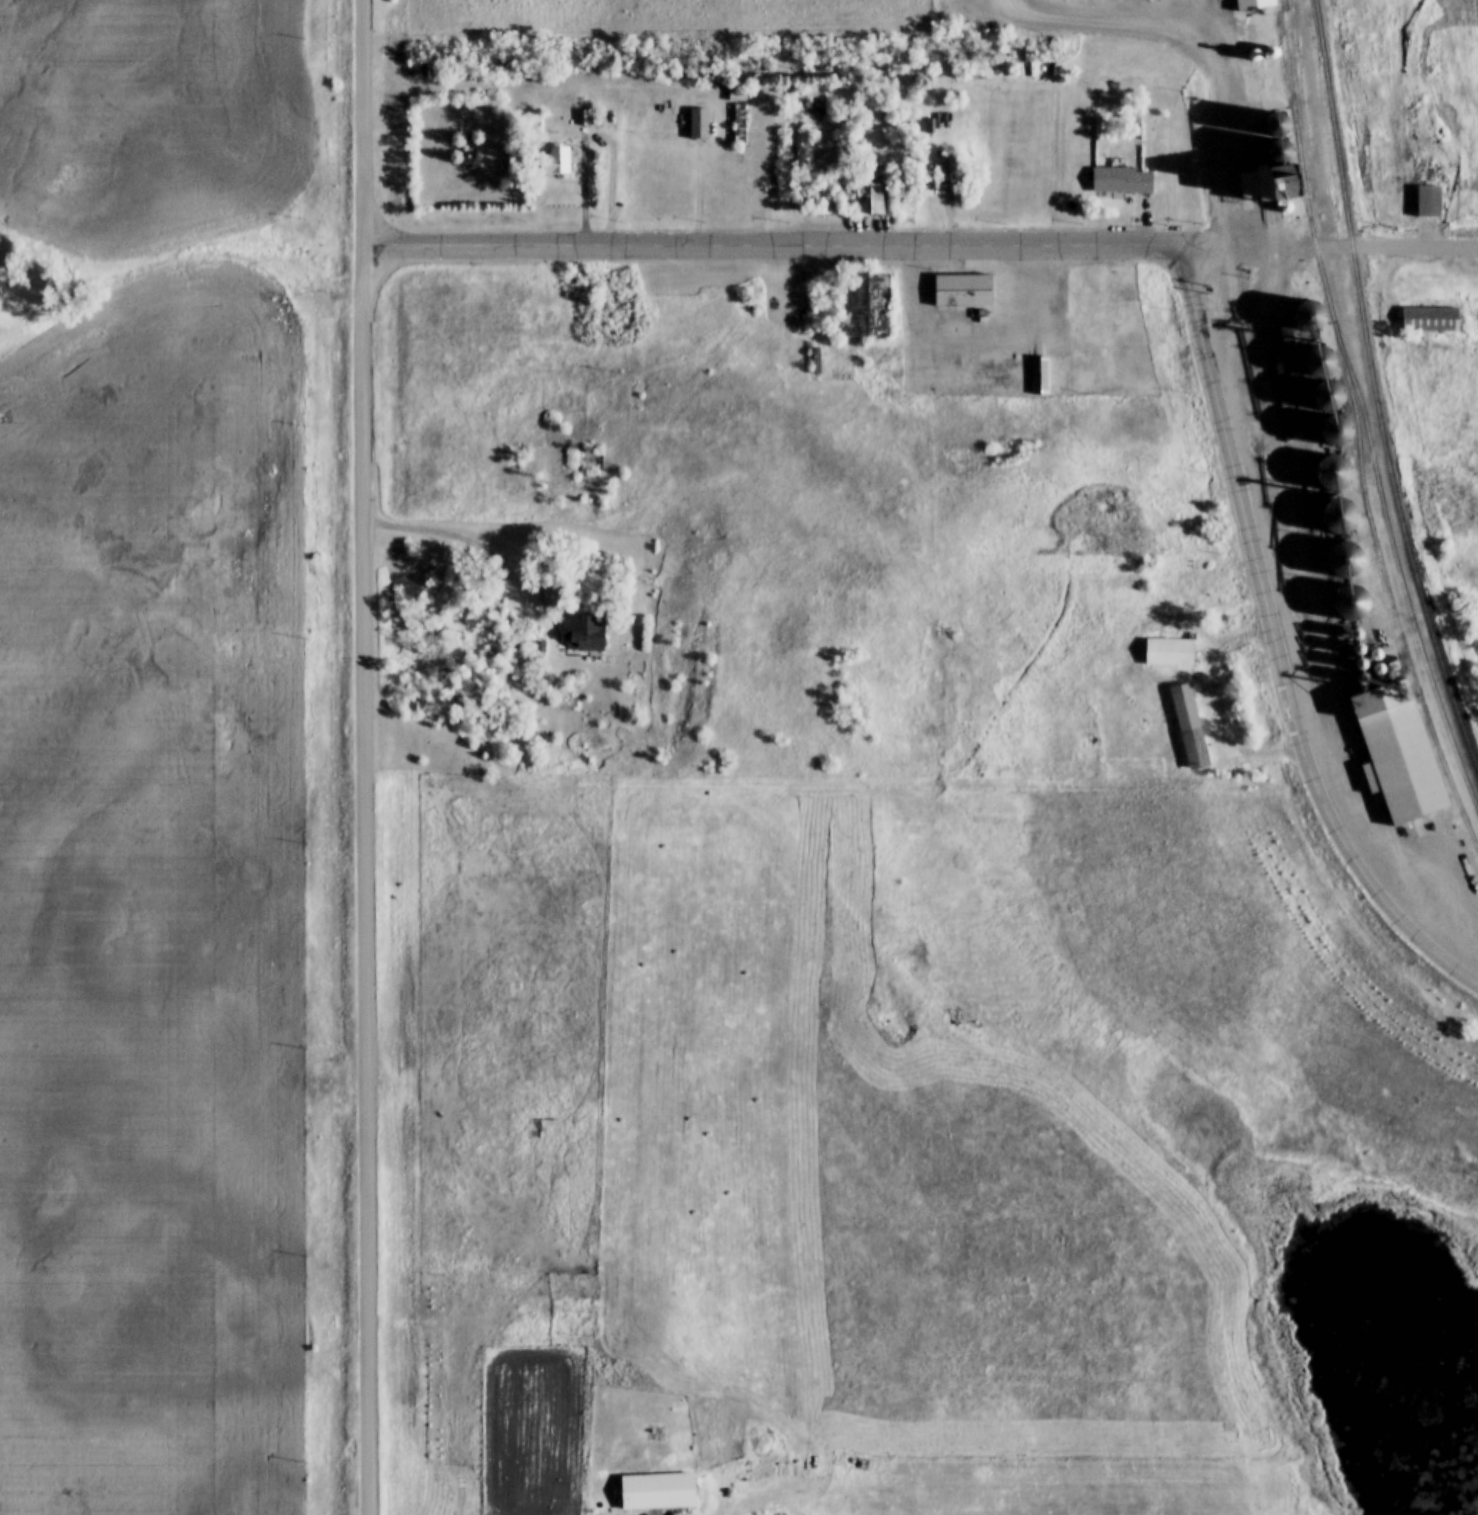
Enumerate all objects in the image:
building: (1253, 5)
road: (1110, 23)
road: (1208, 24)
building: (739, 120)
building: (899, 120)
building: (699, 123)
road: (1224, 147)
building: (558, 161)
building: (949, 170)
building: (883, 174)
building: (1123, 180)
building: (1257, 184)
building: (1295, 186)
building: (879, 198)
building: (1429, 201)
building: (825, 202)
road: (773, 247)
road: (1330, 247)
building: (963, 290)
building: (872, 295)
railway: (1327, 295)
building: (1431, 319)
road: (975, 346)
building: (814, 361)
building: (1040, 375)
railway: (1375, 377)
building: (1343, 429)
building: (1382, 505)
building: (1344, 516)
road: (458, 540)
building: (586, 632)
road: (1276, 643)
building: (1170, 651)
road: (1218, 707)
building: (1190, 726)
road: (365, 757)
building: (1402, 764)
building: (658, 1491)

